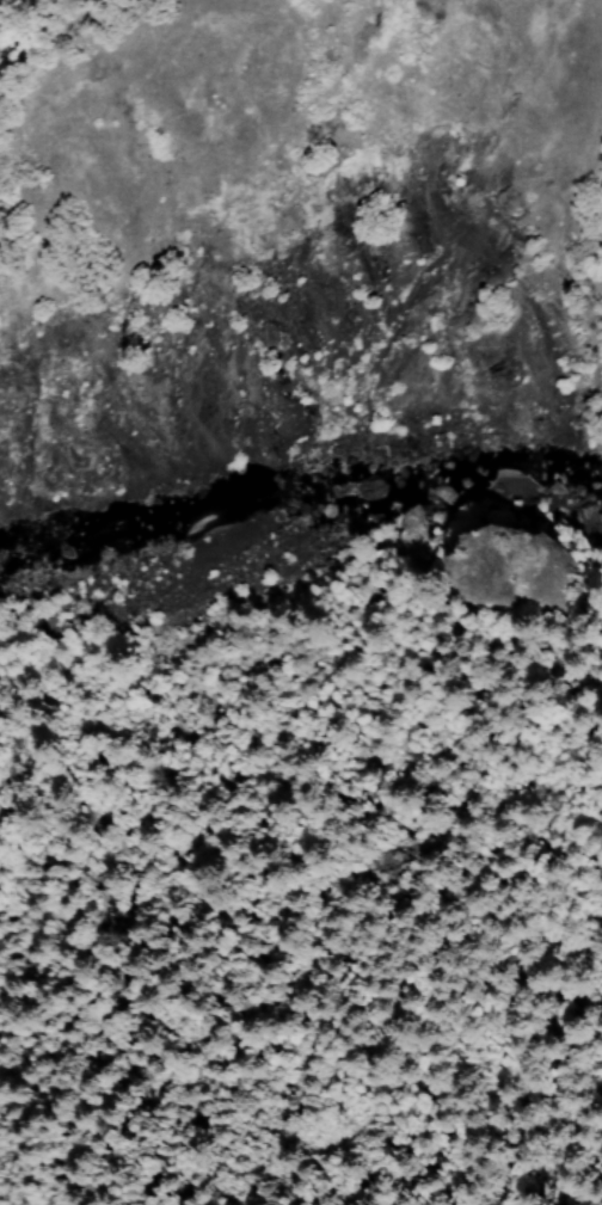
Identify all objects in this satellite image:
river: (288, 493)
river: (594, 500)

